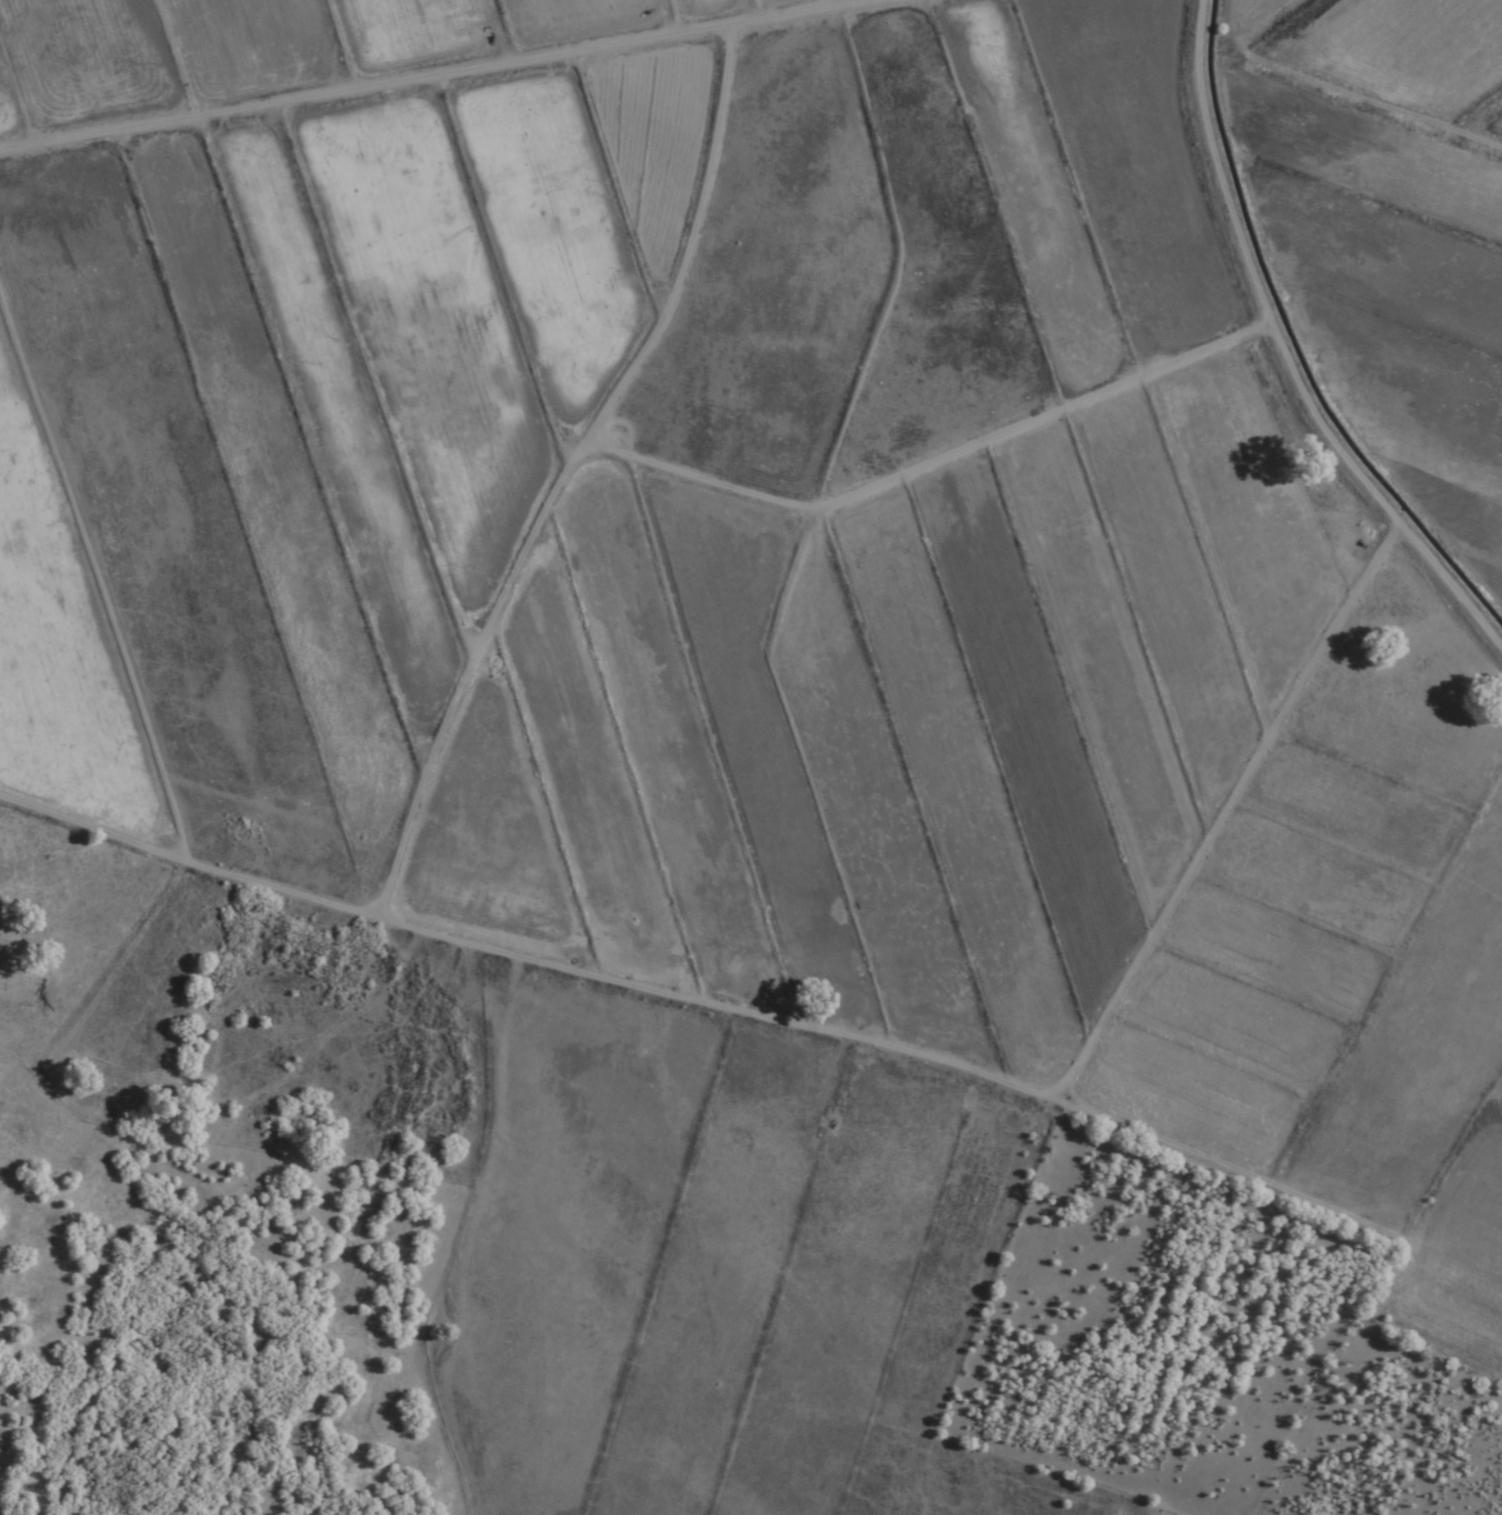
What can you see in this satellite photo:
road: (1440, 1430)

